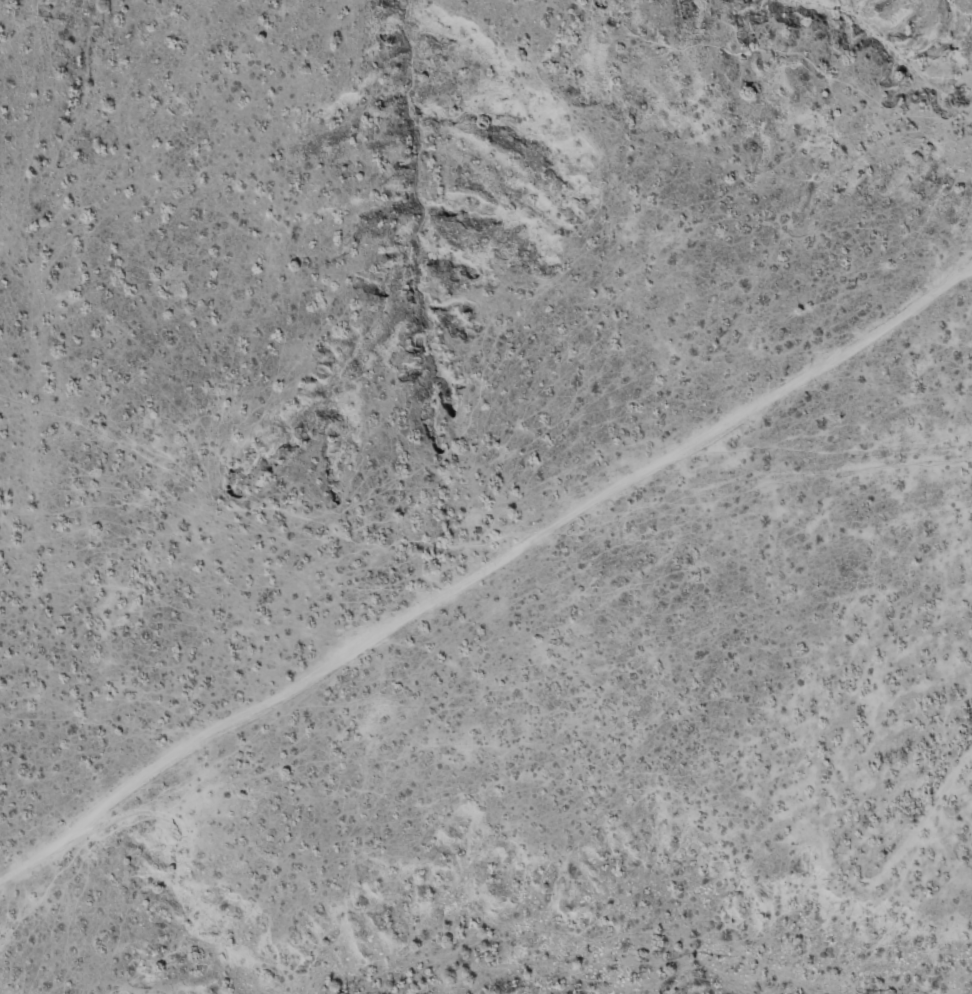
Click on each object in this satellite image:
road: (462, 577)

